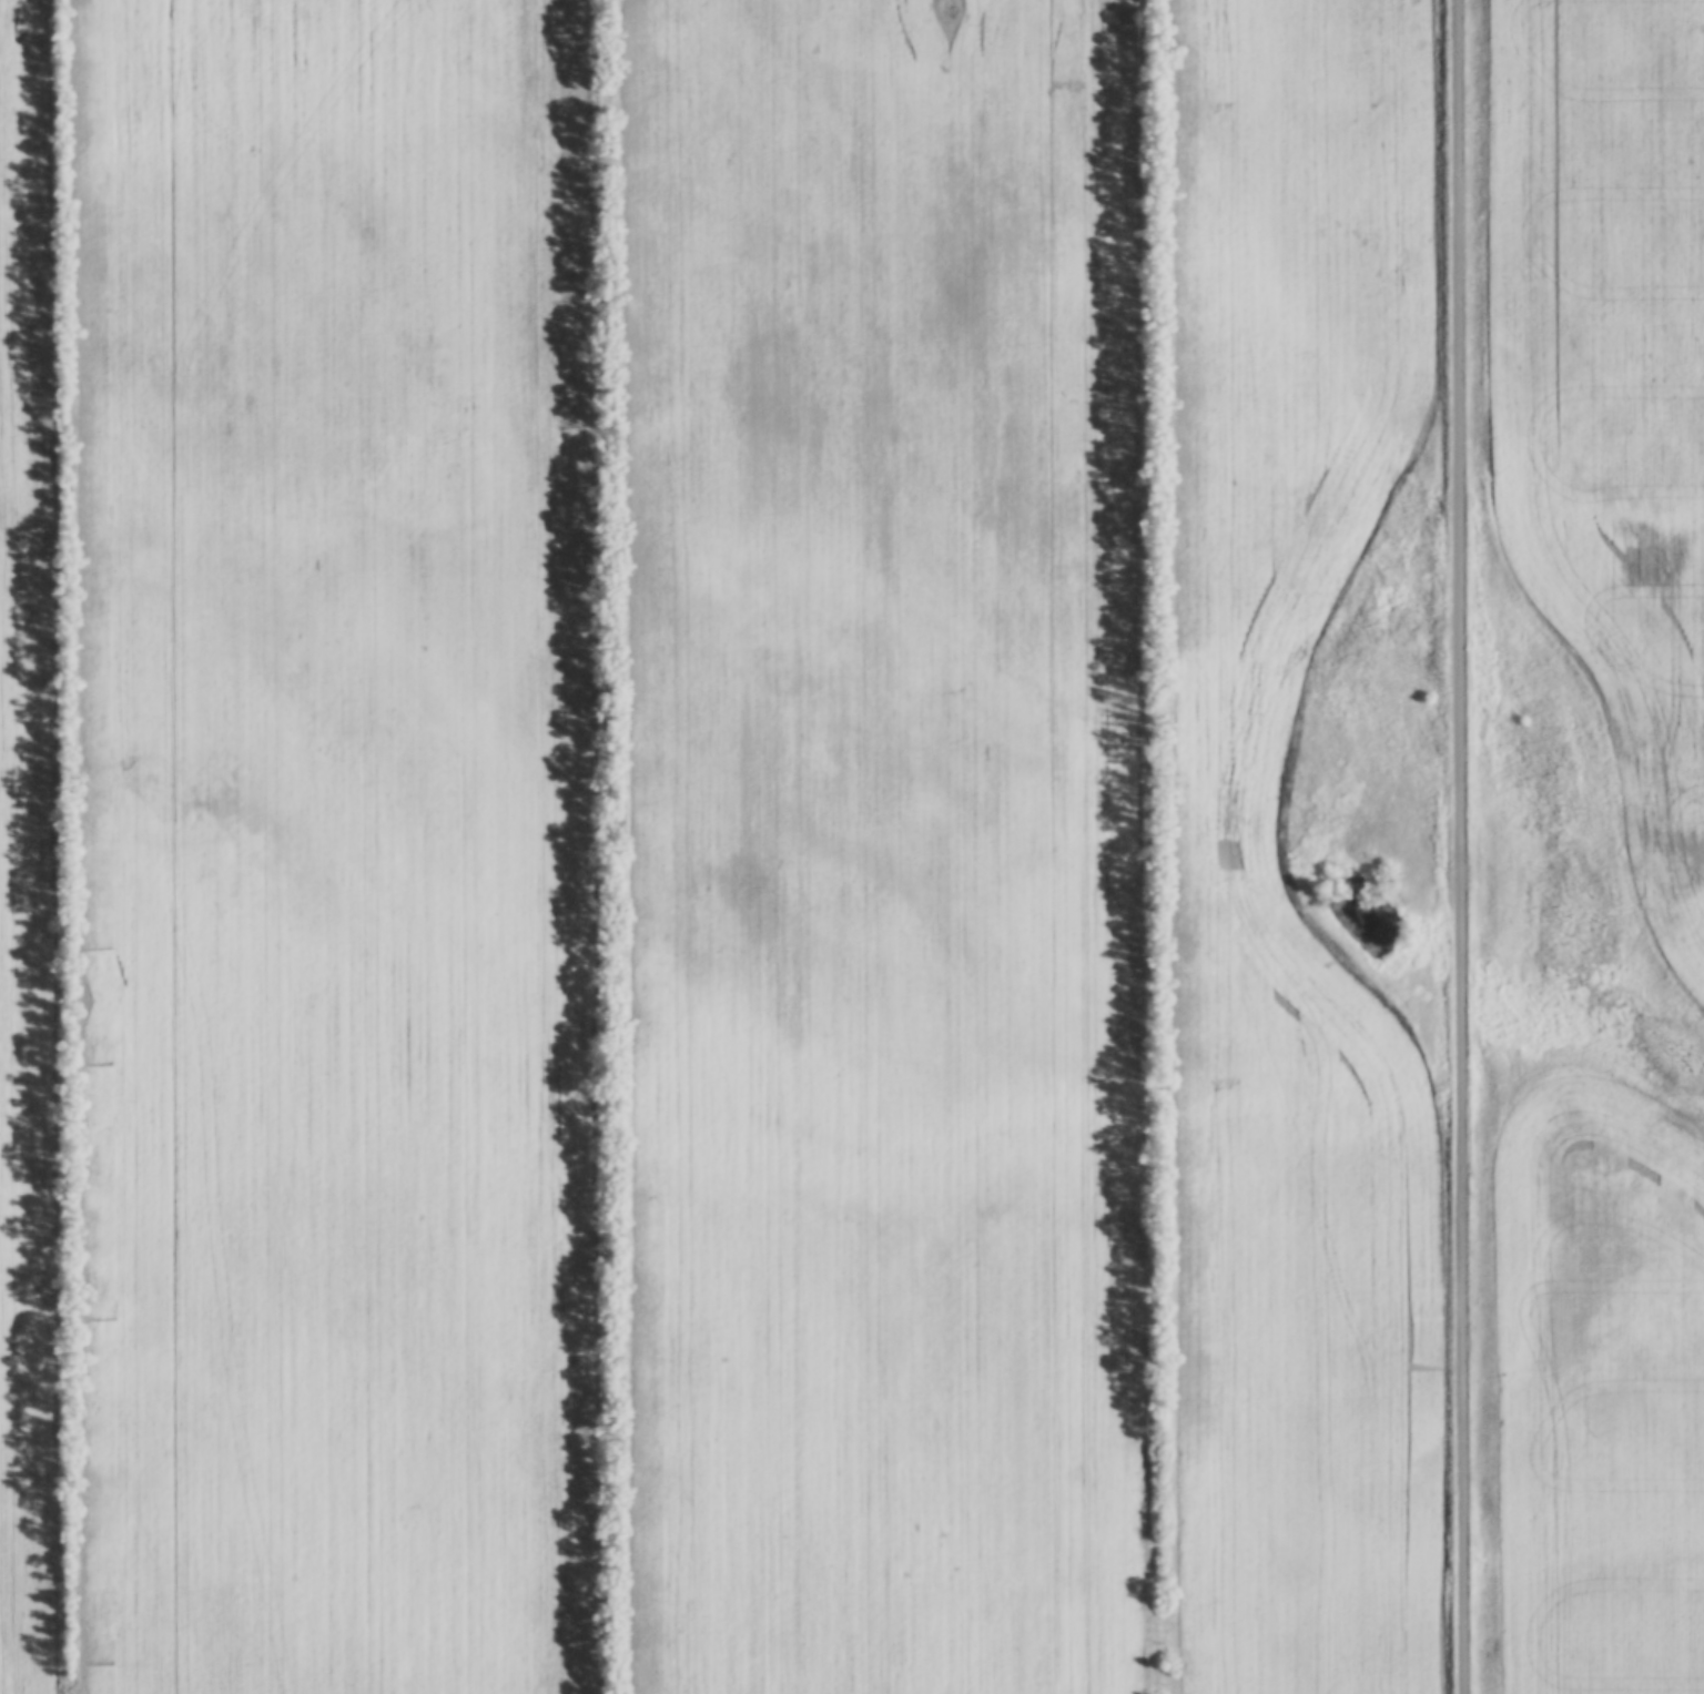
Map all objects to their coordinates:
road: (1457, 846)

